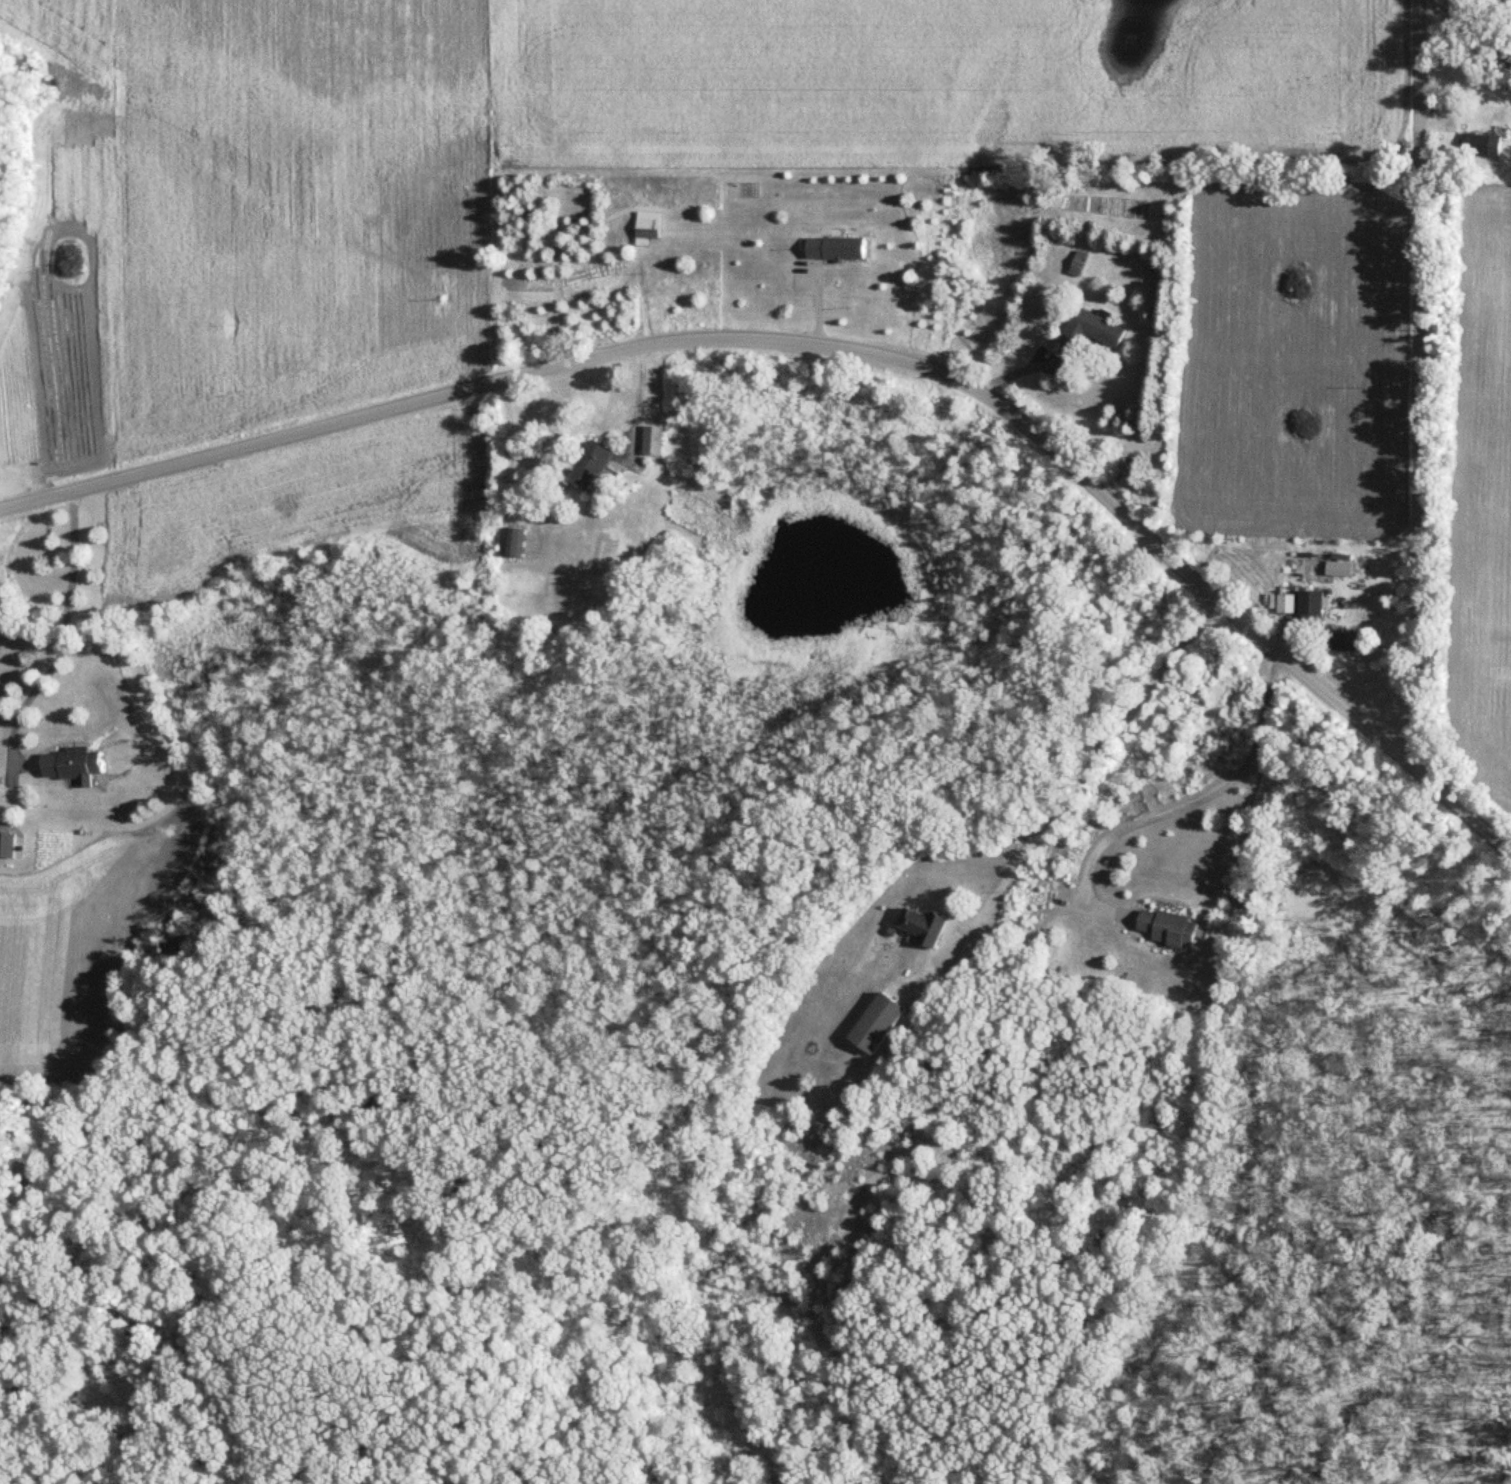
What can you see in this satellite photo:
building: (1482, 146)
building: (647, 228)
building: (837, 250)
building: (1079, 265)
building: (1094, 330)
road: (837, 348)
road: (1417, 385)
road: (637, 402)
building: (653, 441)
road: (504, 444)
building: (591, 468)
building: (517, 545)
road: (73, 555)
building: (1340, 570)
building: (1288, 605)
building: (1313, 606)
road: (66, 630)
building: (1348, 643)
road: (28, 700)
road: (1097, 747)
building: (75, 766)
road: (1208, 796)
building: (8, 845)
building: (923, 927)
building: (1172, 929)
building: (880, 1025)

